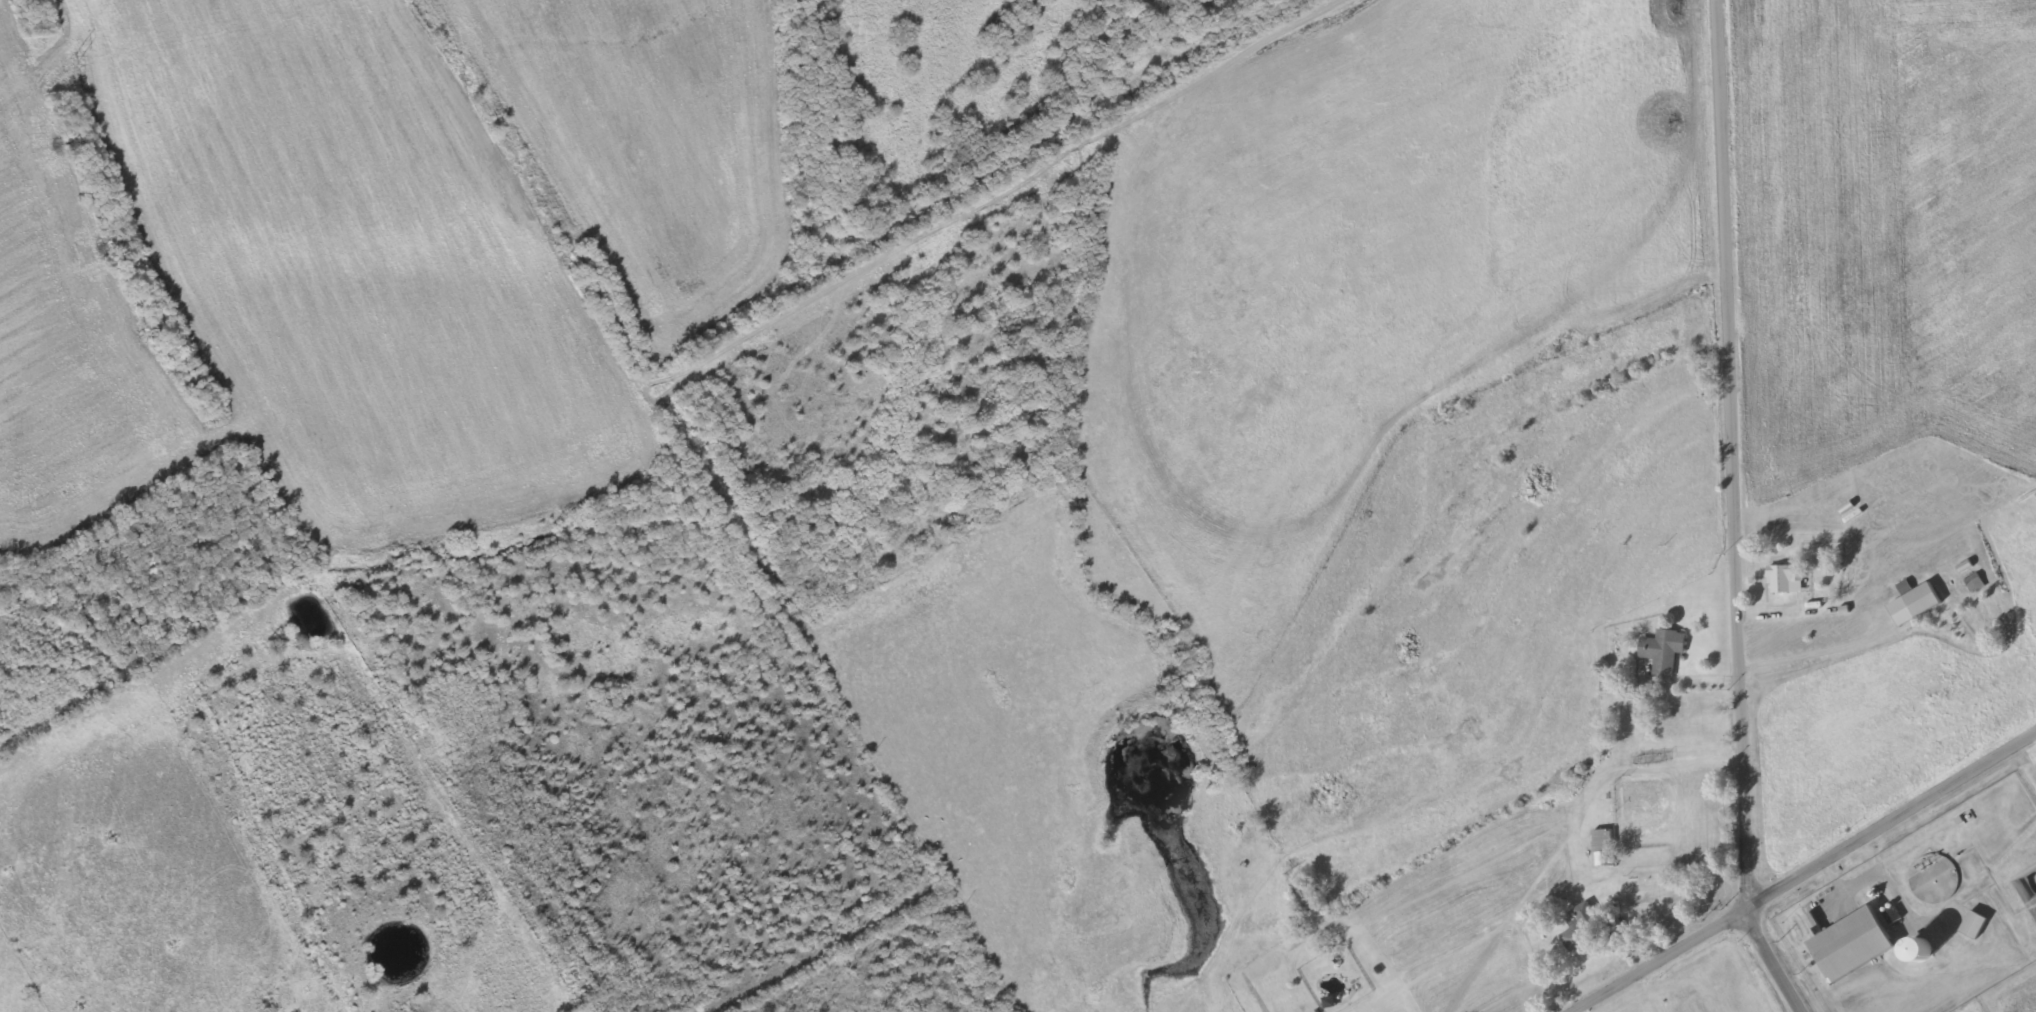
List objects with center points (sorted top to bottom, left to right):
power tower: (76, 60)
road: (1734, 514)
building: (1786, 579)
building: (1975, 582)
building: (1915, 605)
building: (1664, 653)
building: (1610, 685)
road: (1891, 822)
building: (1604, 849)
building: (1920, 885)
building: (1974, 926)
building: (1586, 927)
building: (1852, 946)
building: (1920, 953)
road: (1659, 960)

